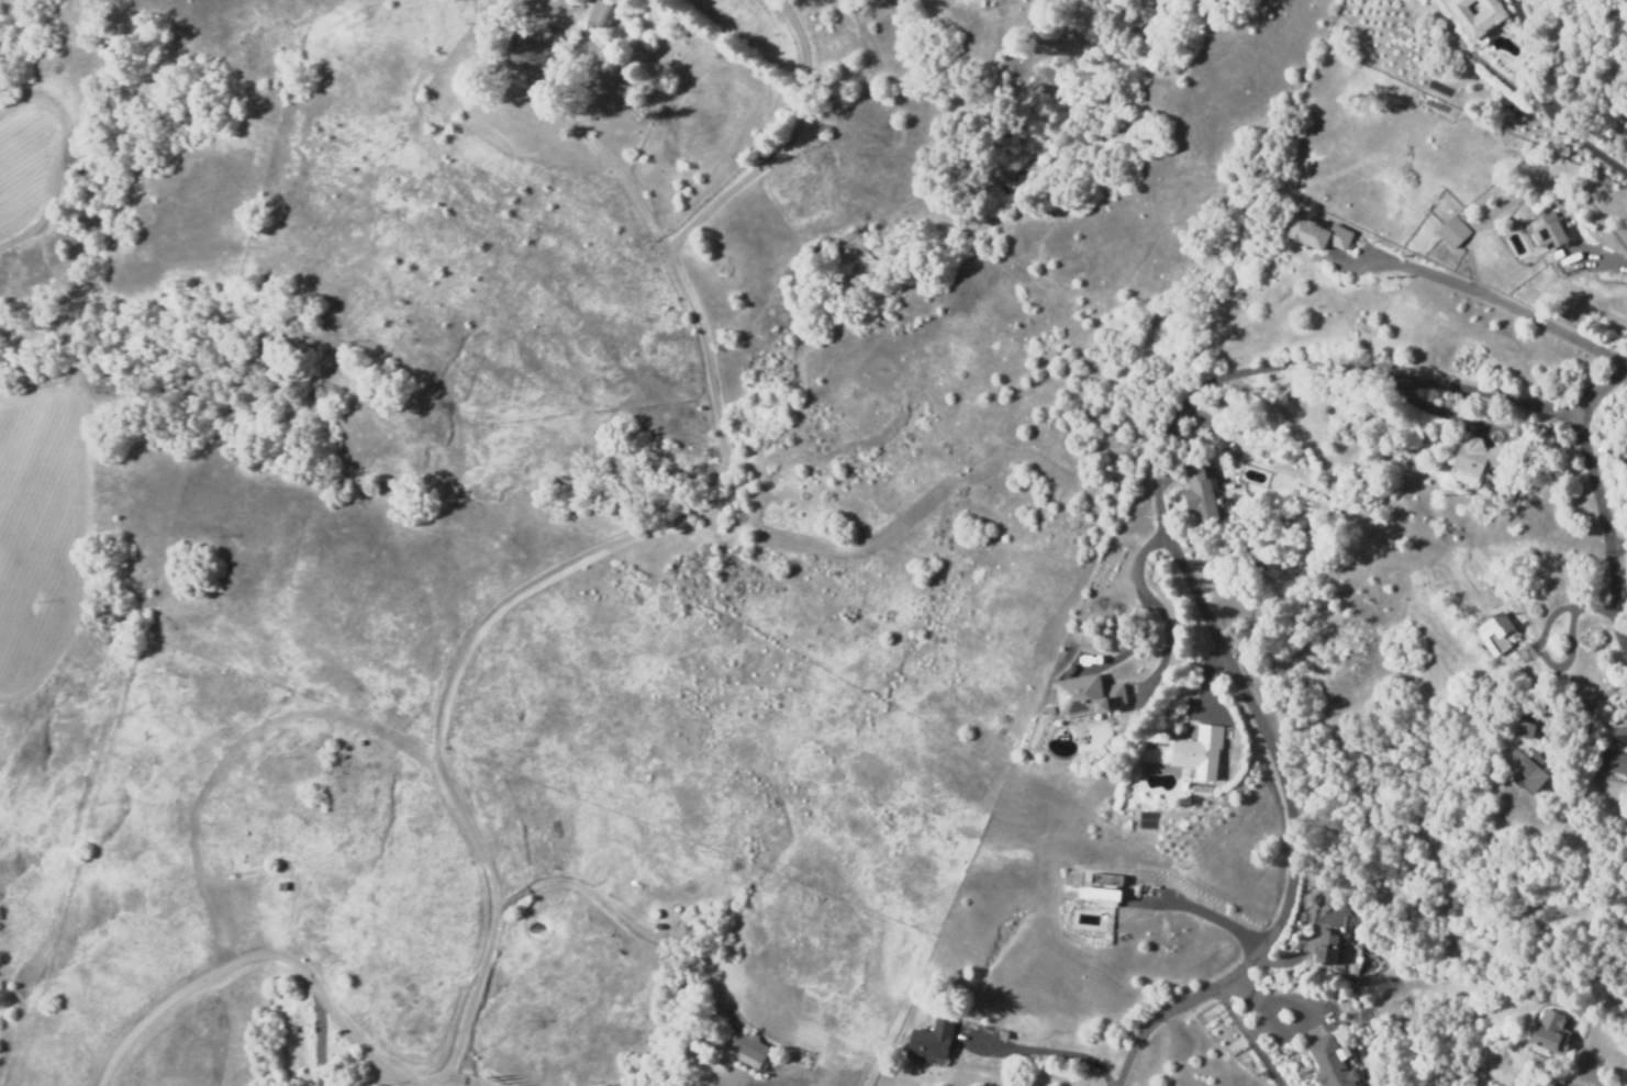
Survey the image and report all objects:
building: (602, 12)
building: (1478, 16)
building: (532, 52)
road: (1538, 104)
building: (1453, 232)
building: (1550, 232)
building: (1318, 235)
road: (1490, 296)
building: (1481, 456)
building: (1200, 493)
road: (1607, 524)
road: (1168, 545)
building: (1495, 634)
road: (455, 661)
building: (1091, 699)
building: (1047, 709)
building: (1528, 734)
building: (1618, 734)
building: (1199, 754)
building: (1613, 762)
building: (1530, 775)
building: (1139, 858)
building: (1145, 860)
building: (1106, 893)
building: (1328, 947)
building: (1551, 1032)
building: (933, 1039)
building: (748, 1051)
building: (1330, 1063)
road: (468, 1078)
building: (1549, 1084)

